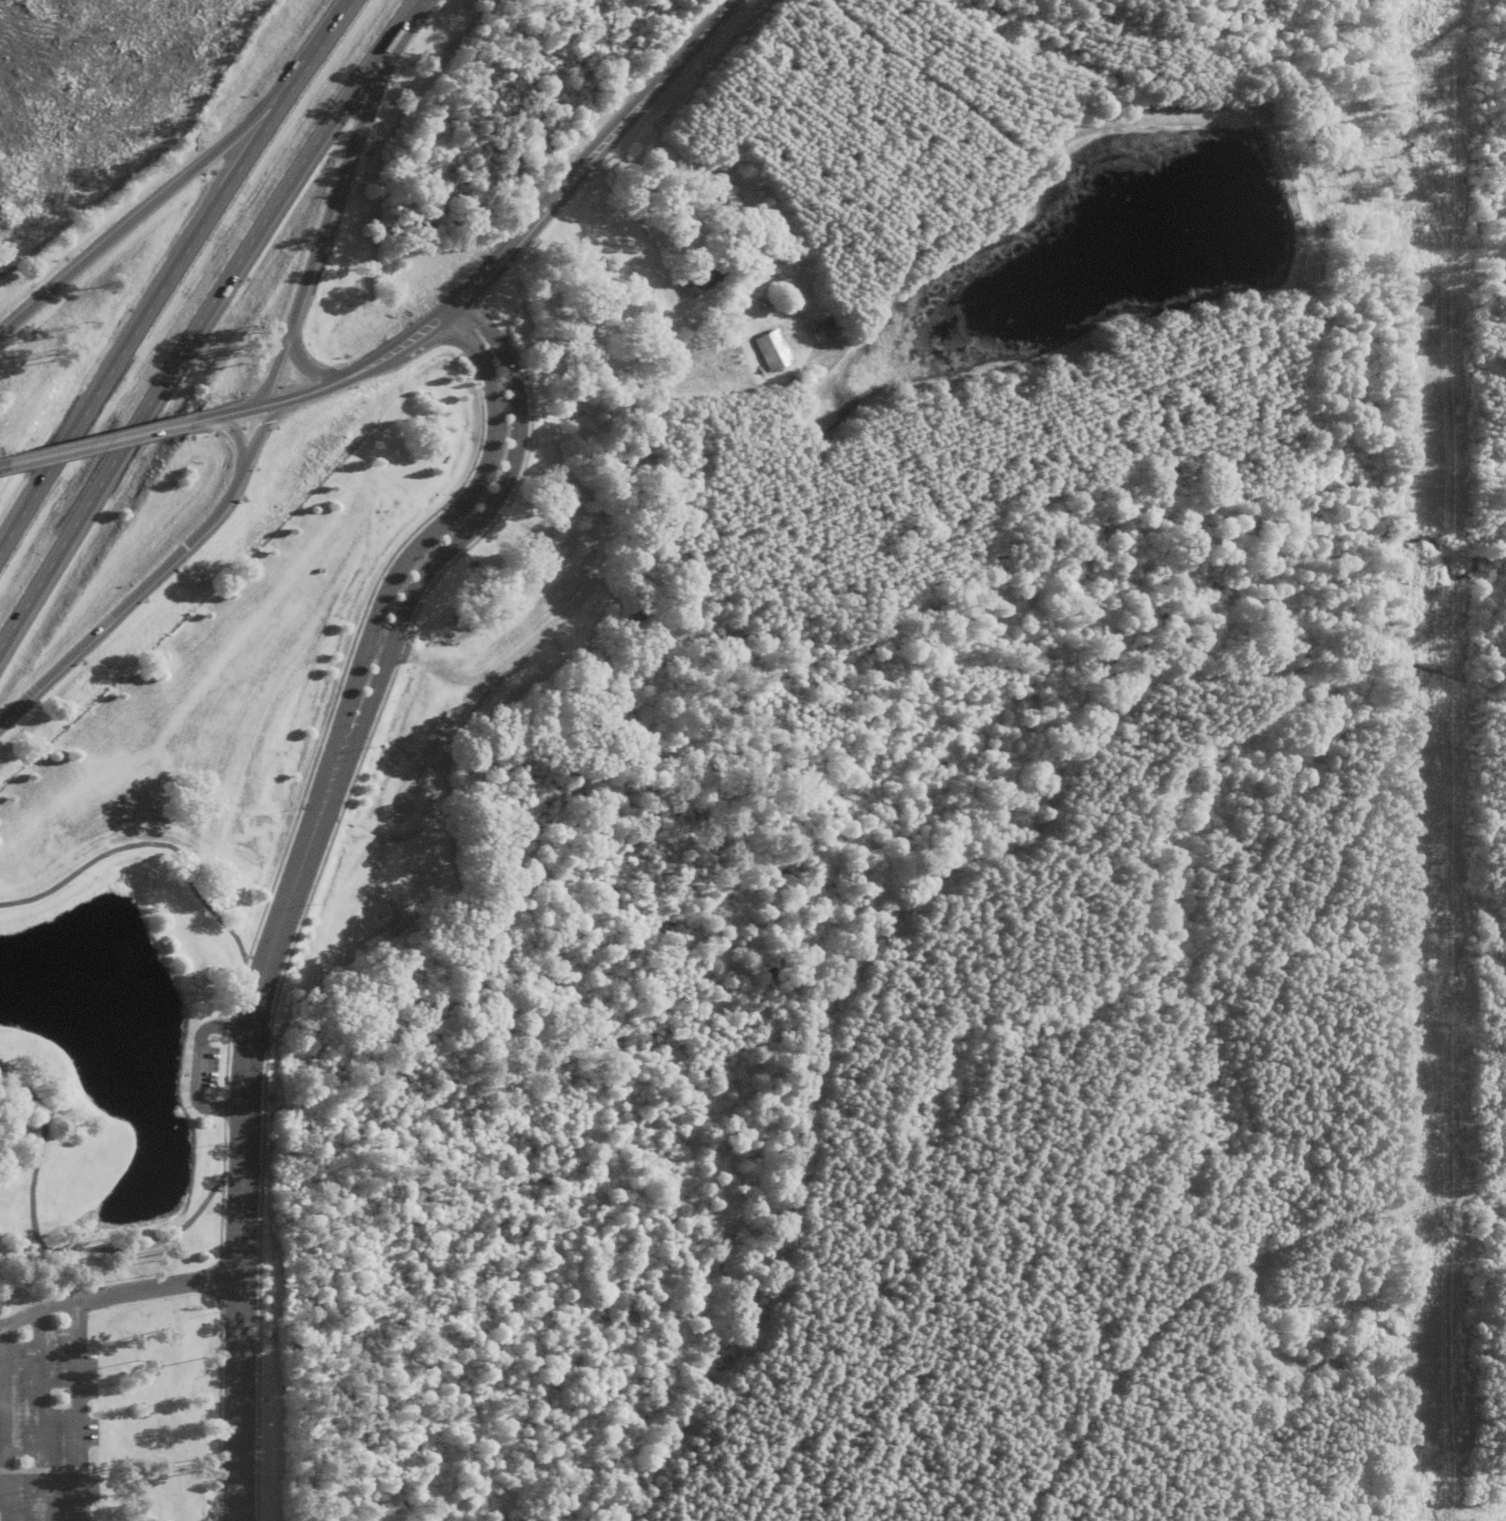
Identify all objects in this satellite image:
road: (319, 51)
road: (665, 68)
road: (342, 168)
road: (165, 194)
road: (531, 217)
building: (703, 275)
road: (451, 306)
road: (25, 314)
road: (201, 319)
road: (140, 326)
road: (400, 341)
road: (496, 345)
building: (774, 349)
road: (273, 364)
road: (300, 364)
road: (346, 374)
road: (263, 401)
road: (262, 427)
road: (234, 436)
road: (97, 441)
road: (2, 464)
road: (184, 547)
road: (413, 550)
road: (408, 596)
road: (55, 670)
road: (174, 854)
park: (183, 864)
building: (202, 941)
road: (219, 1030)
road: (228, 1030)
road: (197, 1067)
road: (223, 1070)
road: (37, 1104)
road: (212, 1110)
road: (220, 1110)
road: (242, 1161)
road: (112, 1249)
road: (115, 1295)
road: (78, 1411)

